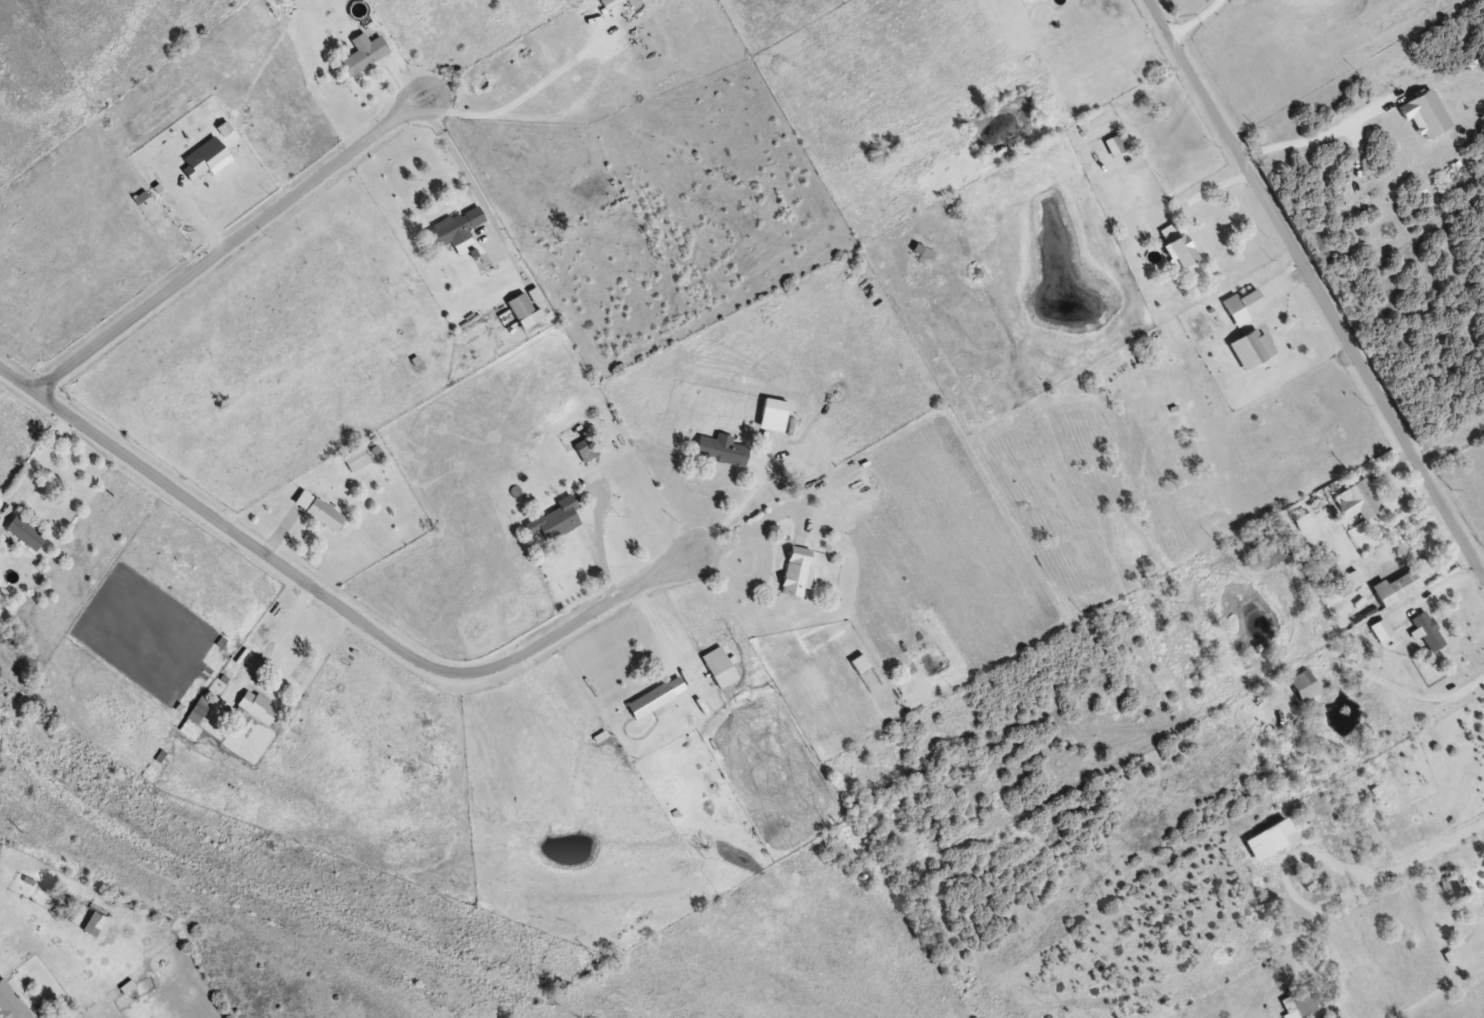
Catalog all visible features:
building: (362, 52)
building: (1096, 124)
building: (1117, 144)
building: (203, 158)
building: (451, 227)
road: (228, 243)
building: (1177, 246)
building: (923, 250)
road: (1317, 287)
building: (522, 309)
building: (1236, 311)
building: (1251, 347)
building: (585, 449)
building: (720, 449)
building: (355, 459)
building: (1359, 499)
building: (318, 510)
building: (1302, 518)
building: (559, 524)
building: (23, 531)
building: (1272, 550)
building: (795, 572)
building: (1396, 587)
road: (333, 602)
building: (1380, 629)
building: (1427, 630)
building: (858, 662)
building: (718, 666)
building: (1303, 685)
building: (655, 697)
building: (256, 706)
building: (193, 721)
building: (72, 910)
building: (89, 926)
building: (1302, 1001)
building: (11, 1003)

